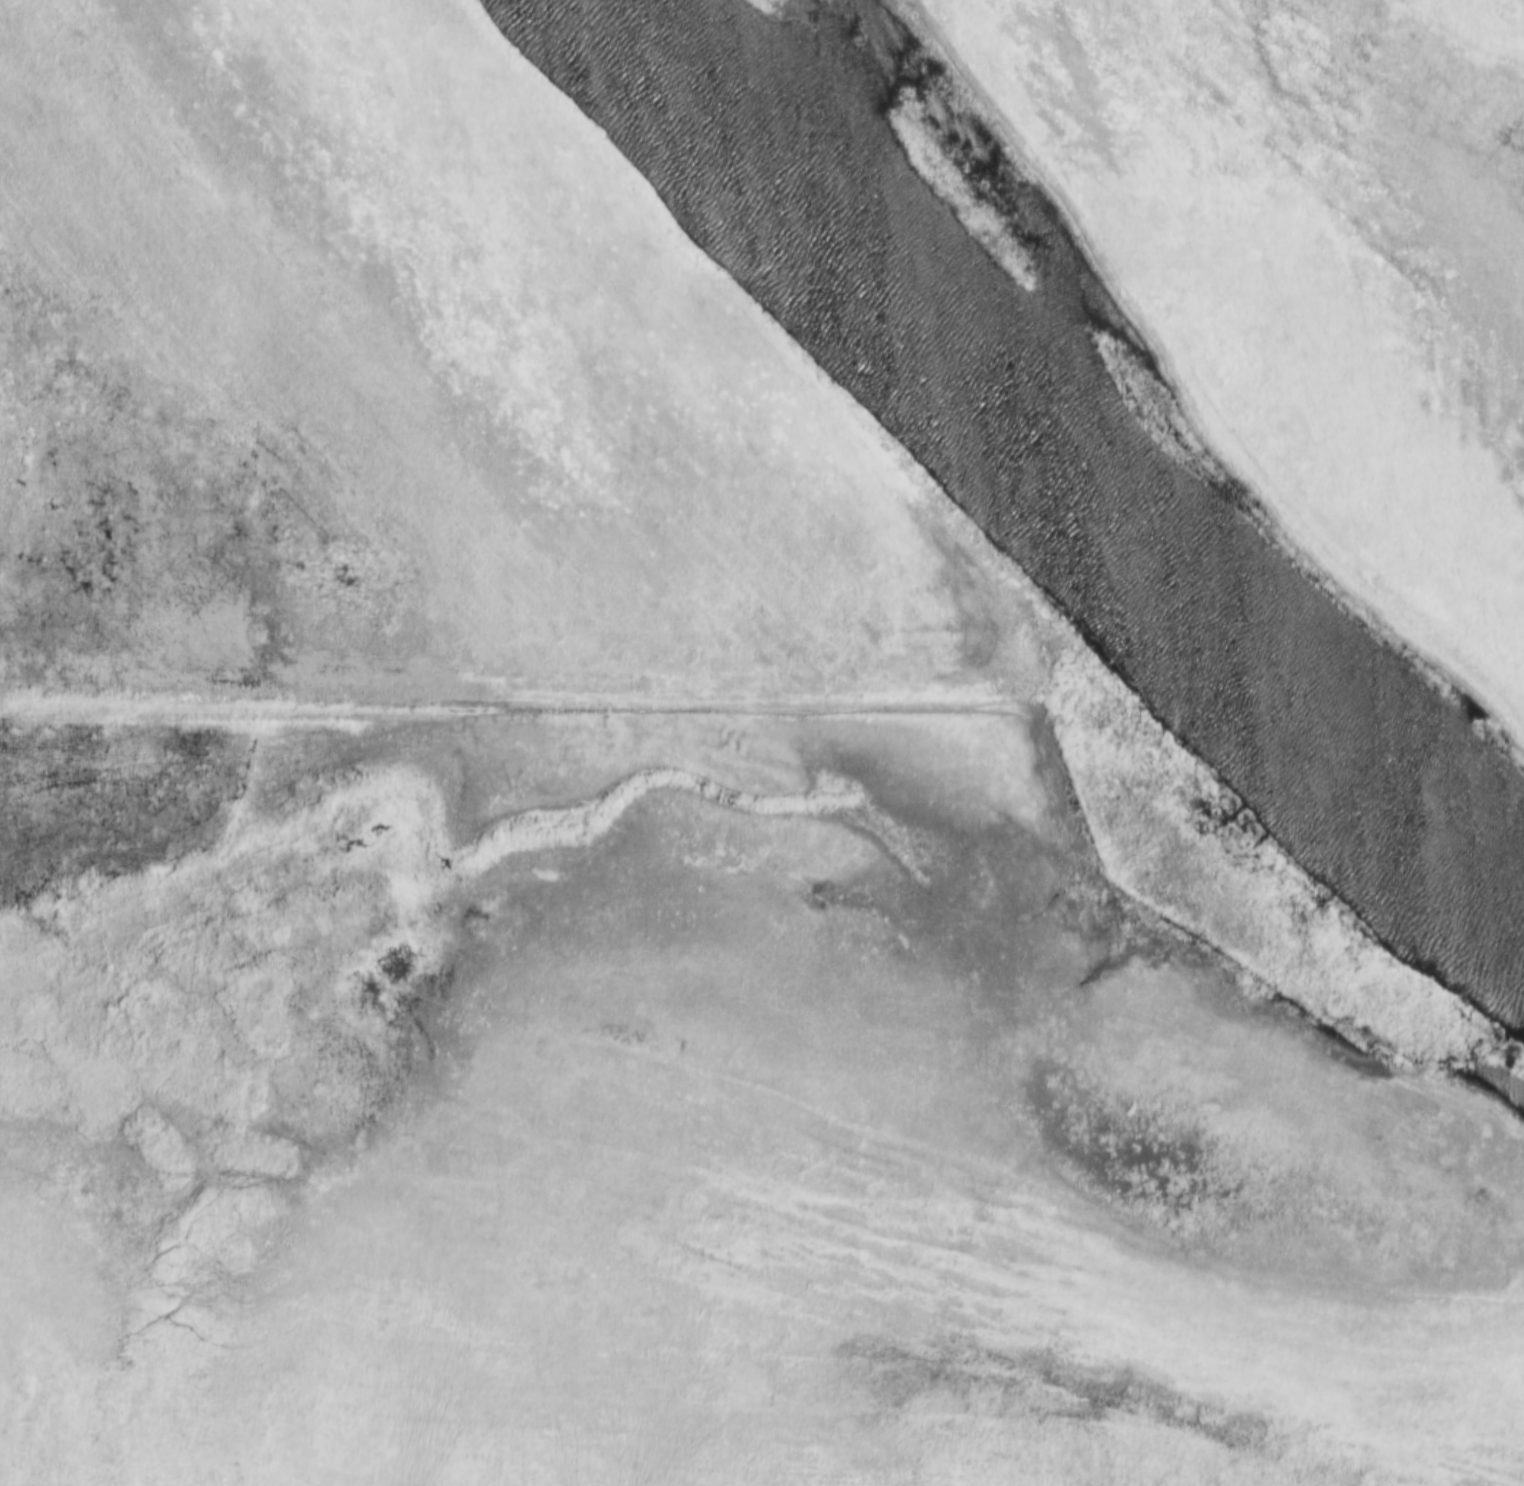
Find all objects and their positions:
river: (1059, 467)

